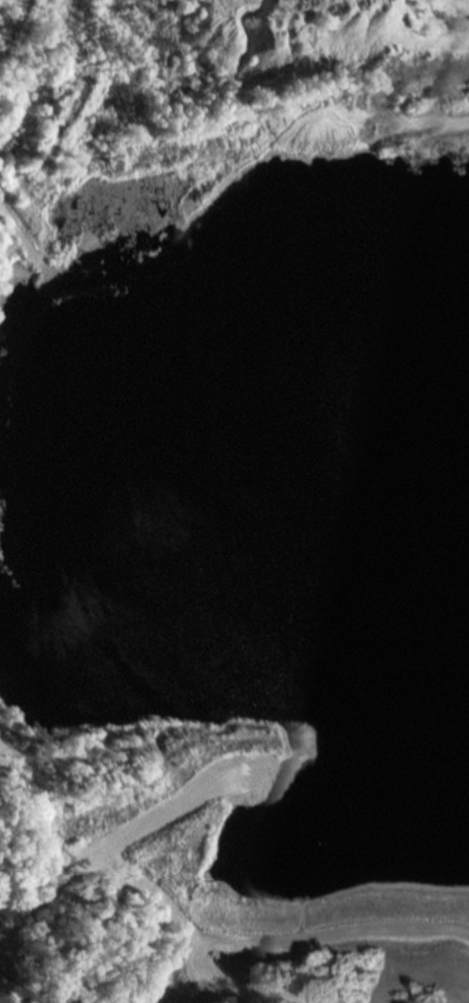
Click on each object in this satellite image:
quarry: (234, 385)

